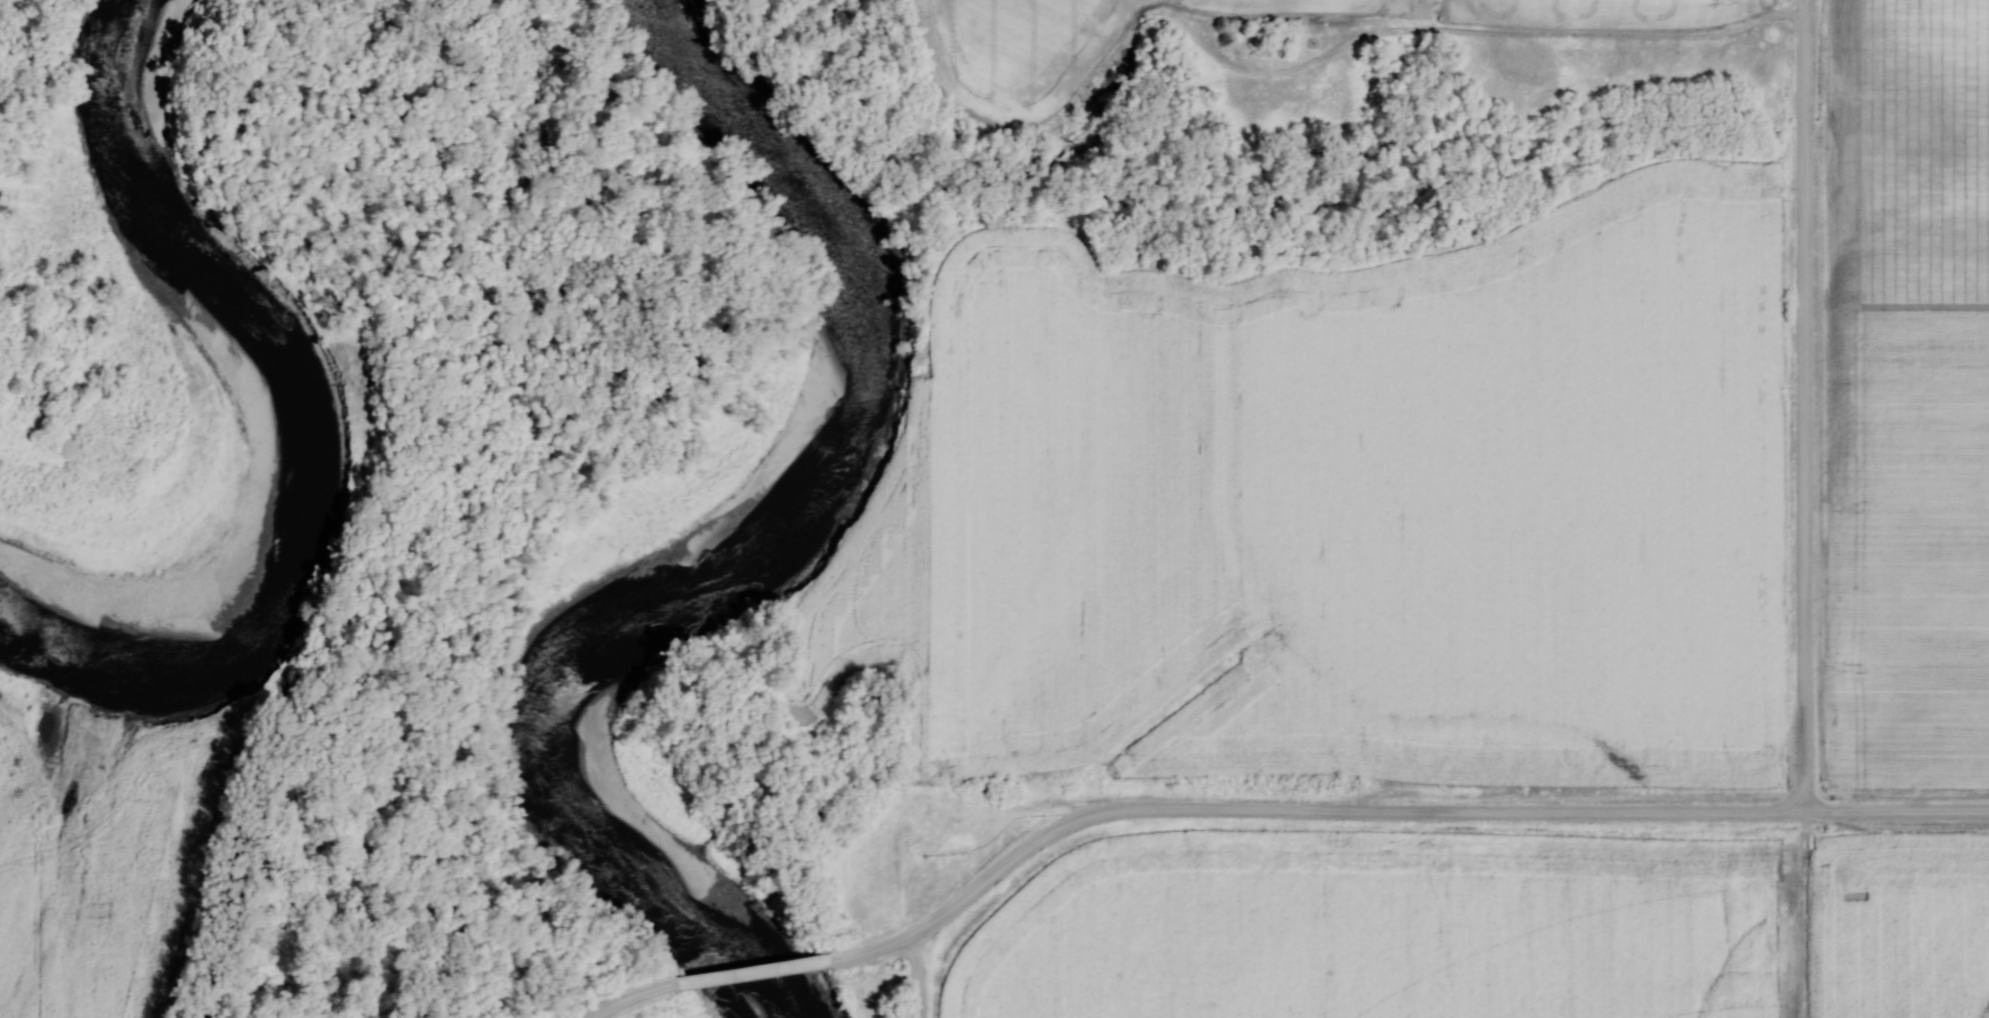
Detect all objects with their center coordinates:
road: (1805, 405)
river: (244, 412)
river: (729, 517)
road: (1390, 808)
road: (752, 968)
road: (918, 974)
road: (628, 997)

